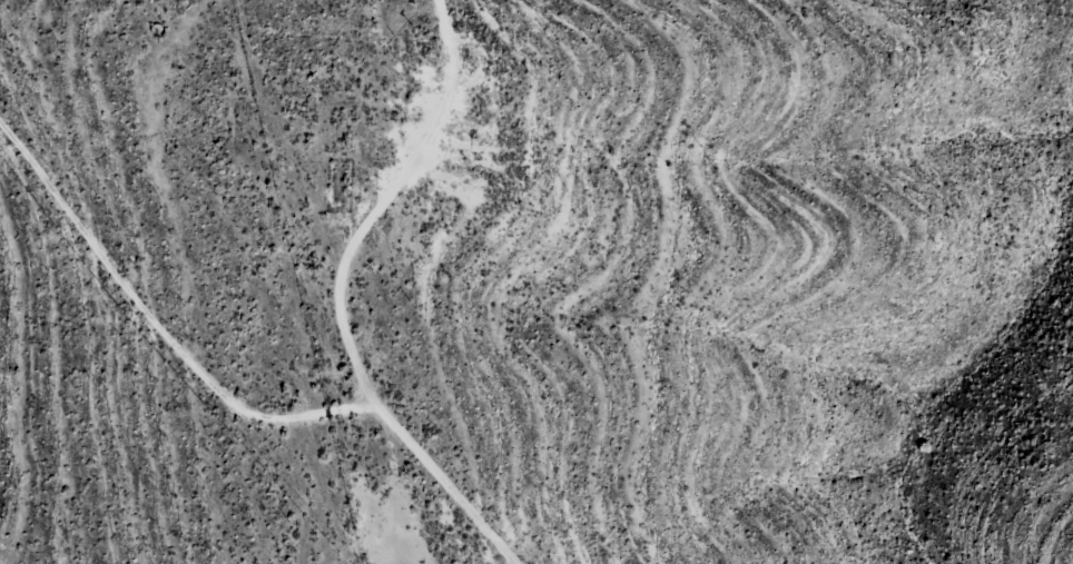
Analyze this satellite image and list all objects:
road: (213, 444)

